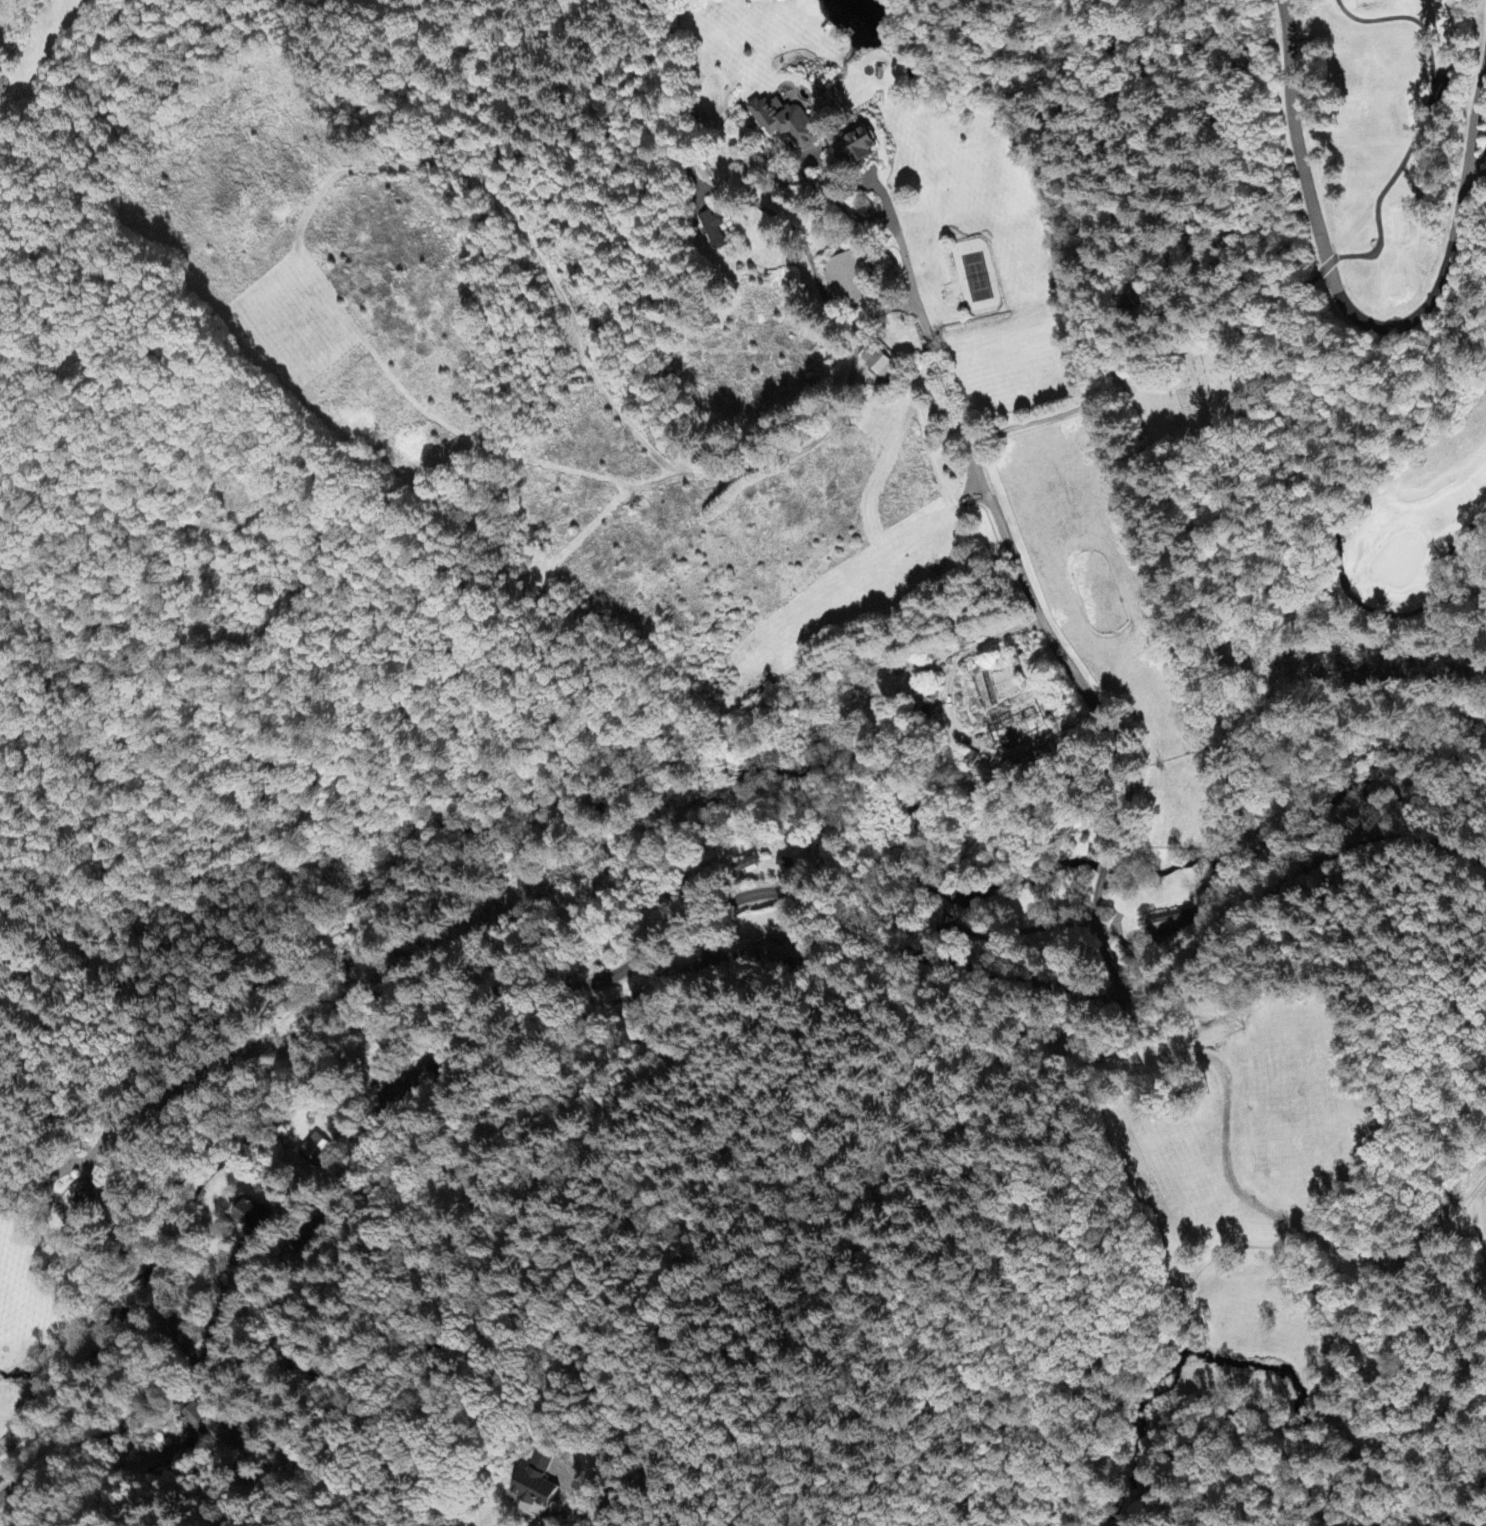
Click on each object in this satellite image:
building: (784, 123)
building: (855, 148)
building: (712, 230)
building: (847, 281)
park: (1384, 297)
road: (1351, 314)
building: (877, 365)
park: (1199, 398)
road: (1037, 422)
road: (1024, 592)
road: (1105, 867)
road: (665, 942)
road: (1102, 943)
road: (149, 952)
road: (555, 1193)
building: (80, 1194)
building: (251, 1216)
road: (326, 1345)
building: (194, 1420)
building: (534, 1487)

